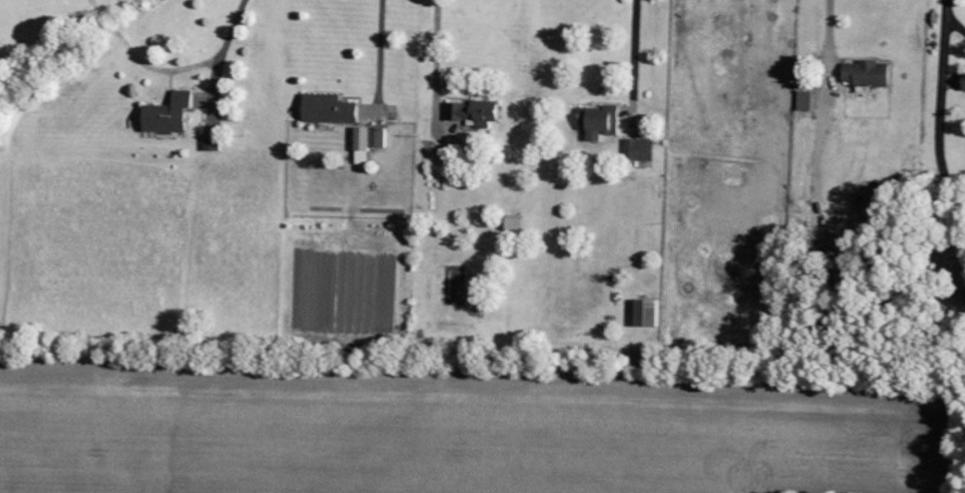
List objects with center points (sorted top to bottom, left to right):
building: (864, 73)
building: (963, 81)
building: (805, 101)
building: (328, 109)
building: (473, 112)
building: (167, 114)
building: (599, 122)
building: (368, 140)
building: (210, 142)
building: (638, 150)
building: (513, 222)
building: (961, 284)
building: (646, 313)

